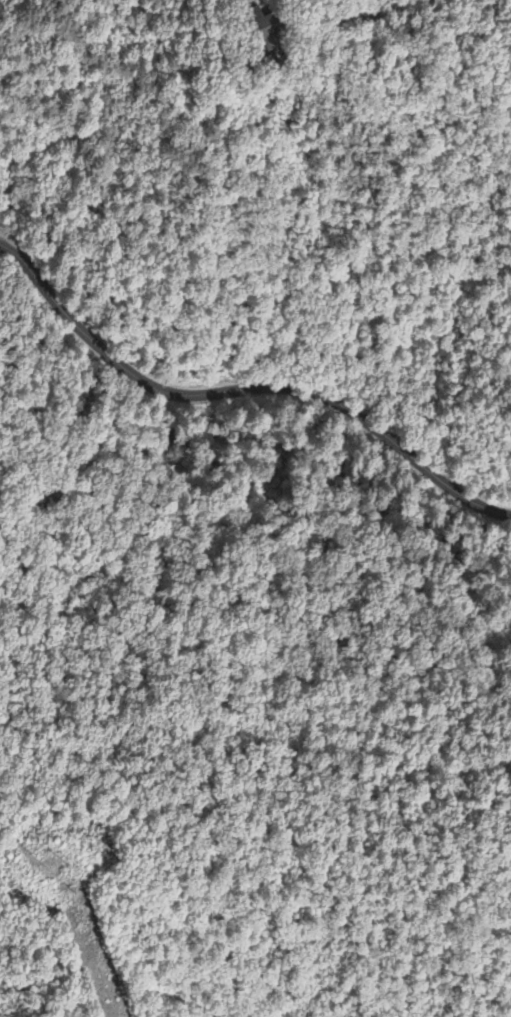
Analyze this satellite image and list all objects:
road: (244, 388)

